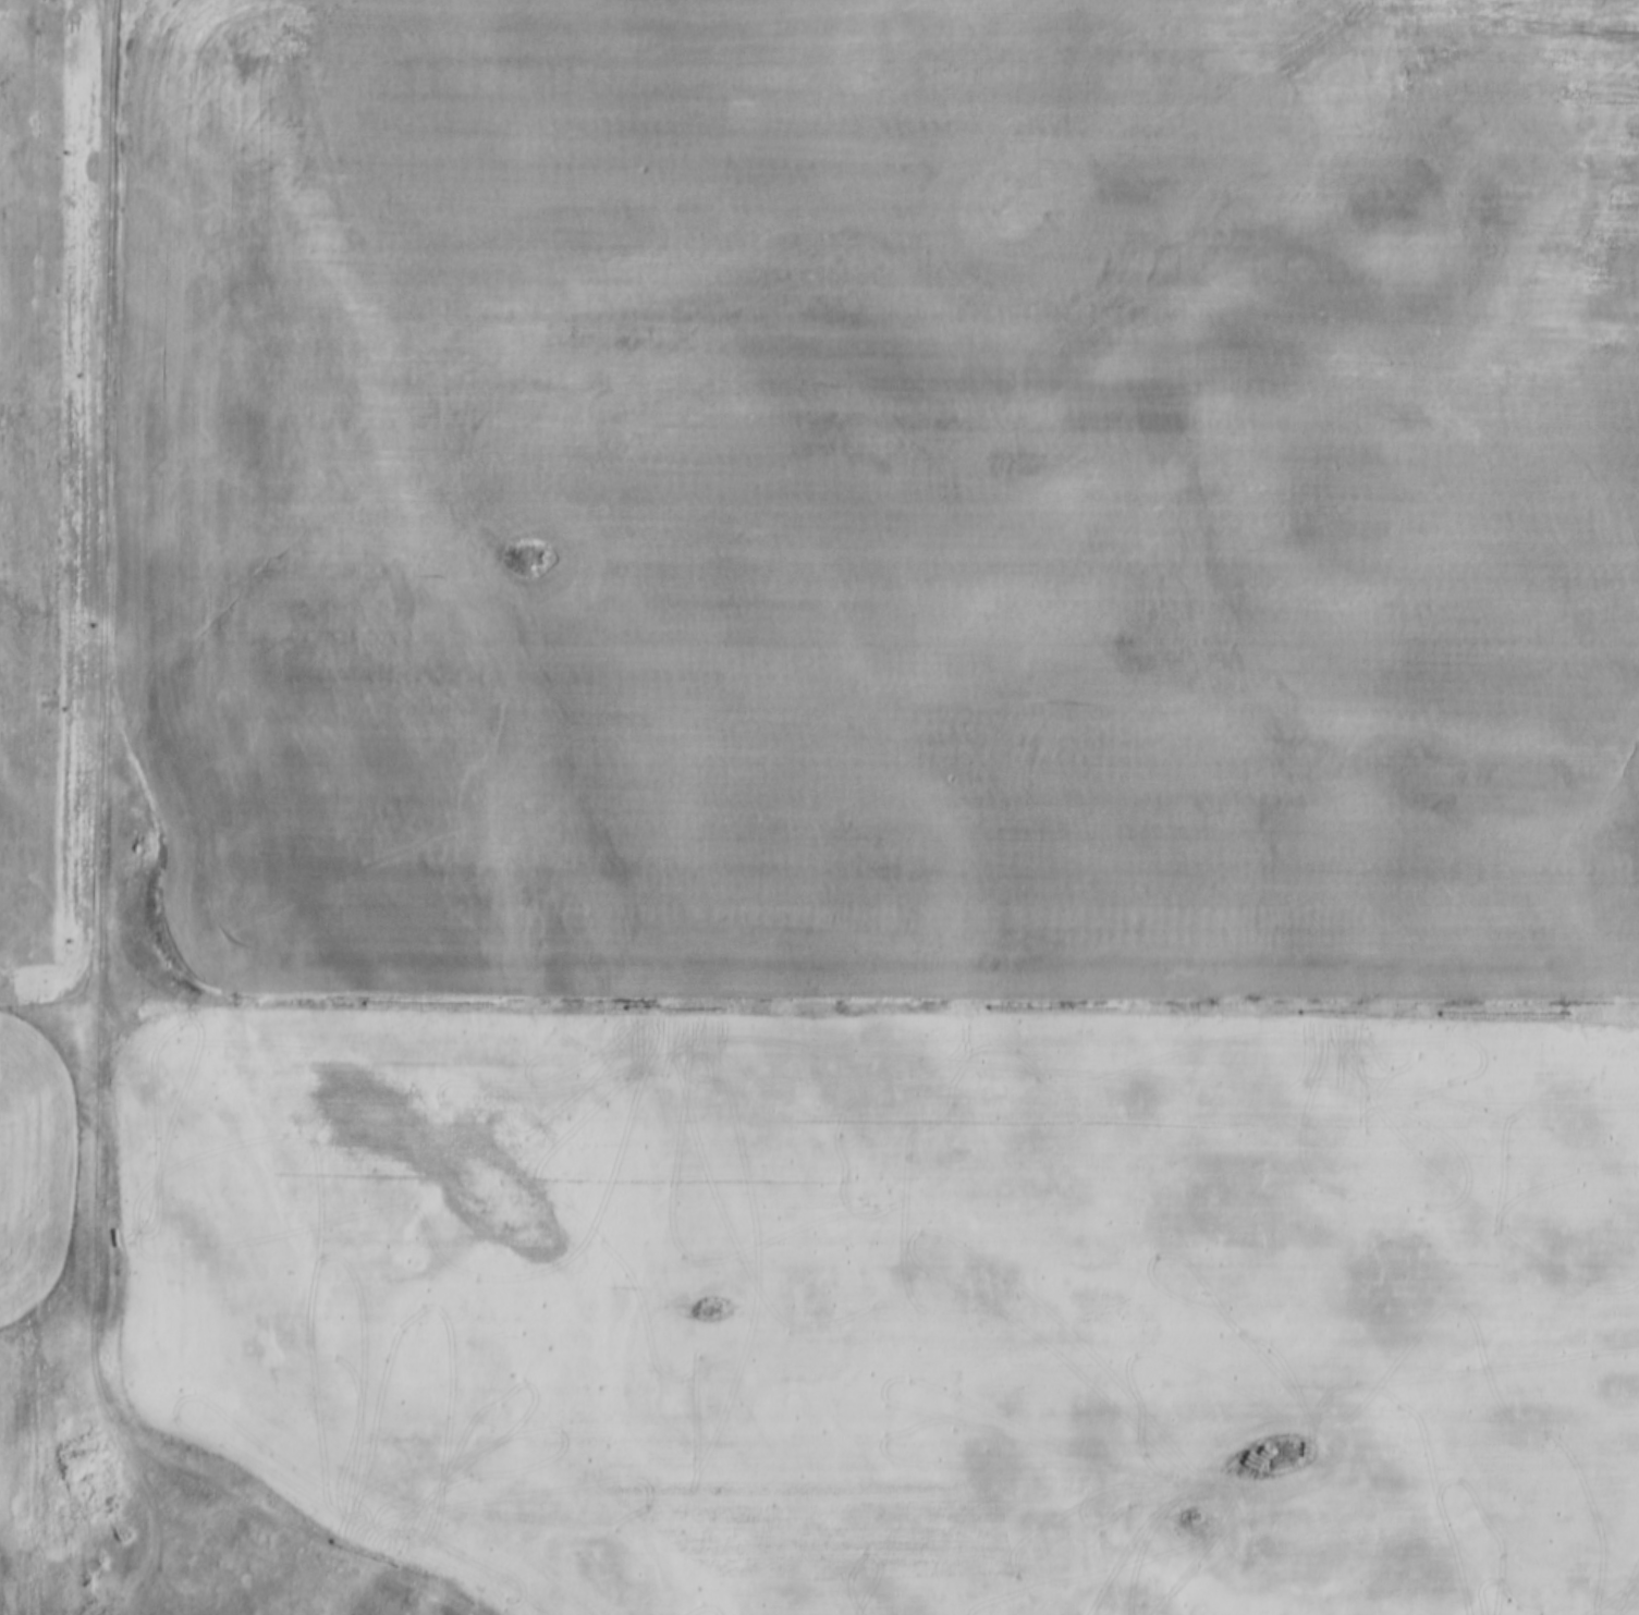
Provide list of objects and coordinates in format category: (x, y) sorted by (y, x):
road: (120, 871)

